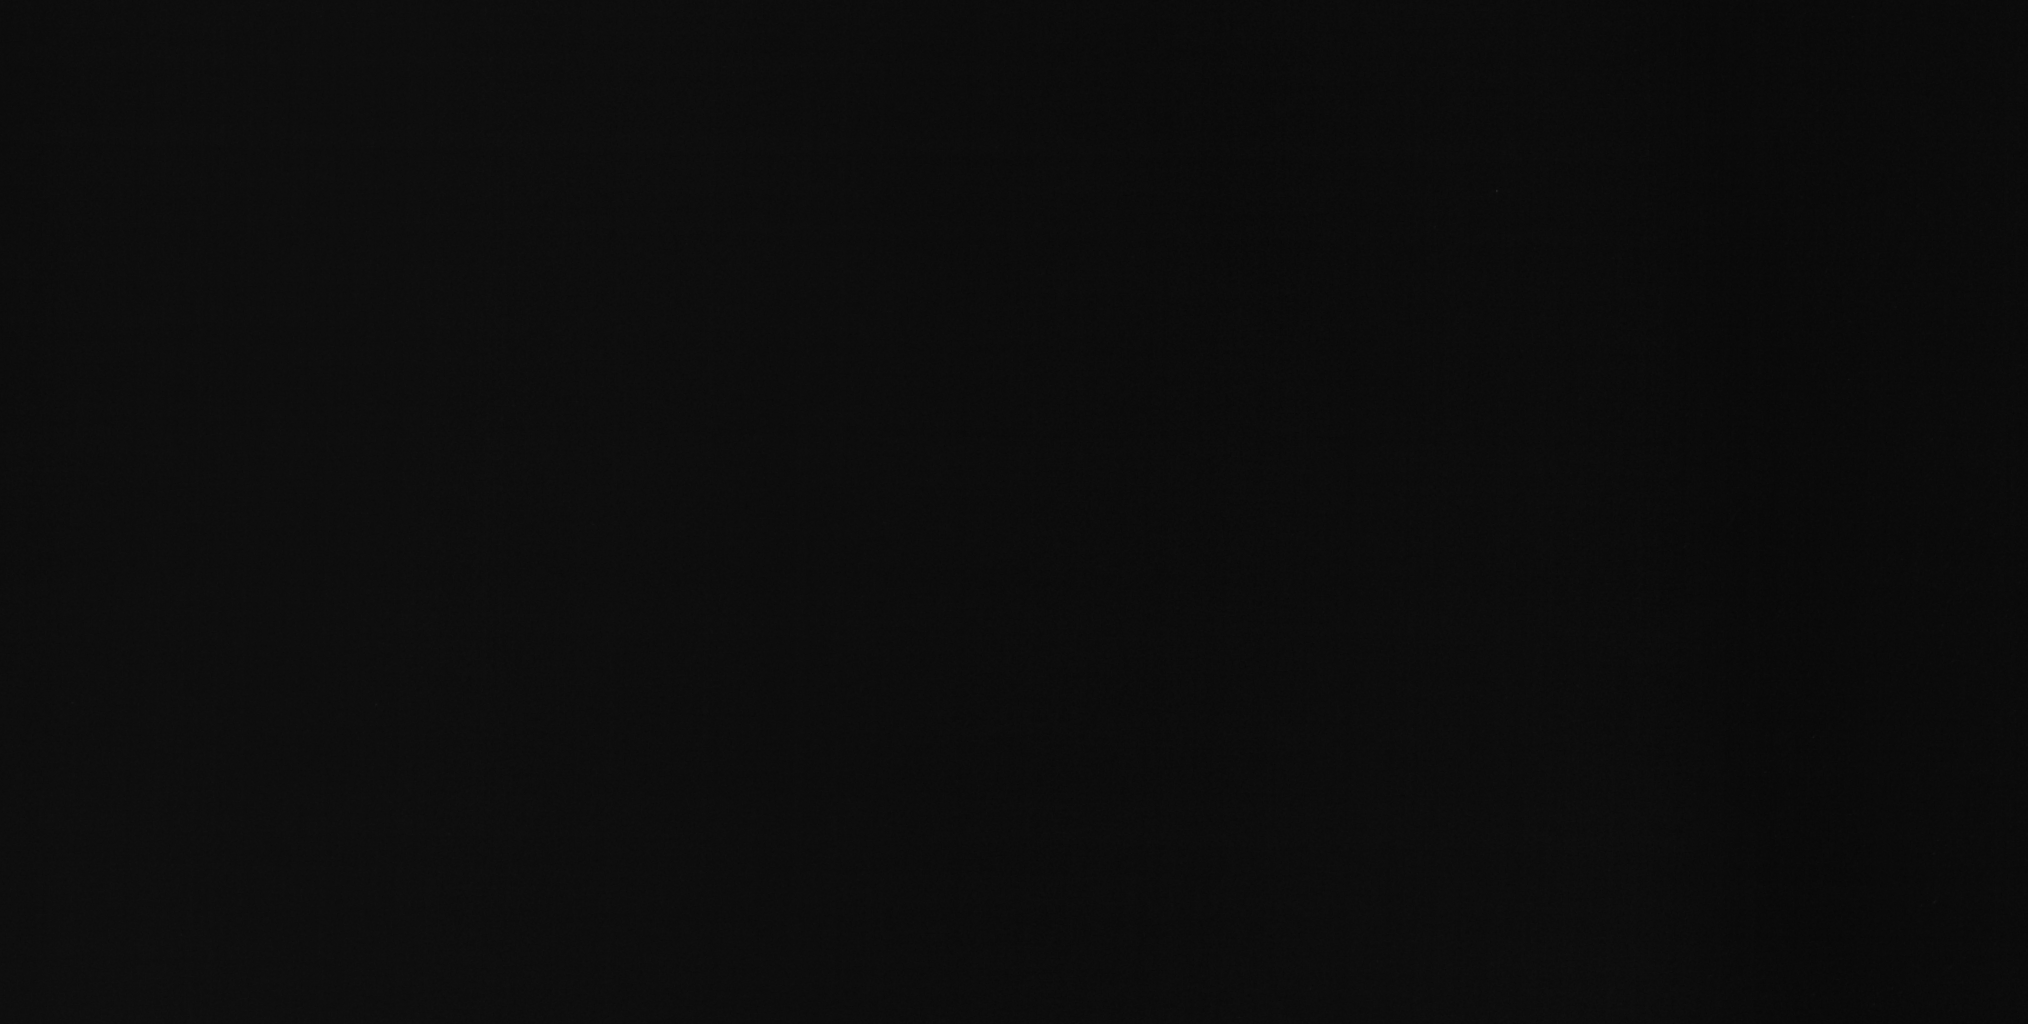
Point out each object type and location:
river: (1146, 327)

